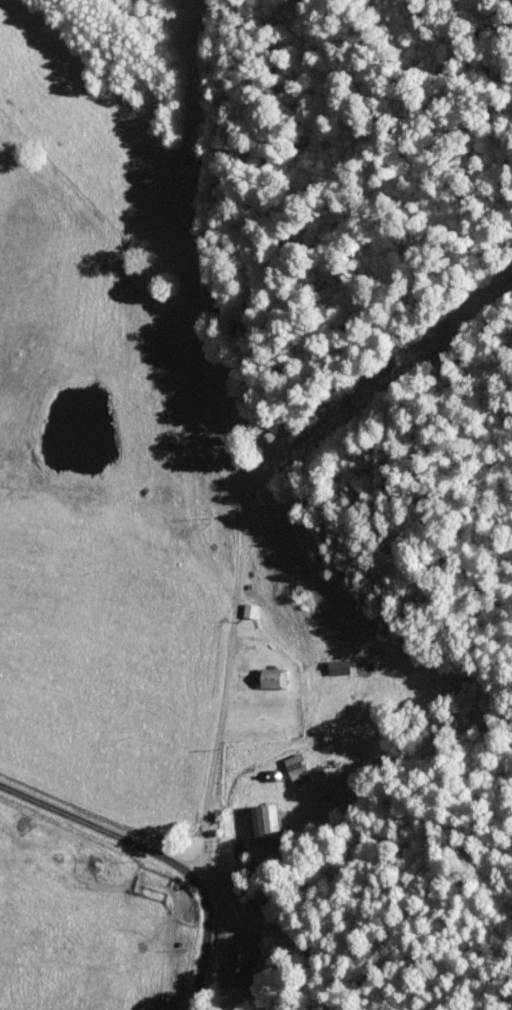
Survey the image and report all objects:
building: (246, 610)
building: (334, 667)
building: (268, 678)
building: (293, 769)
building: (262, 824)
road: (159, 856)
building: (234, 966)

